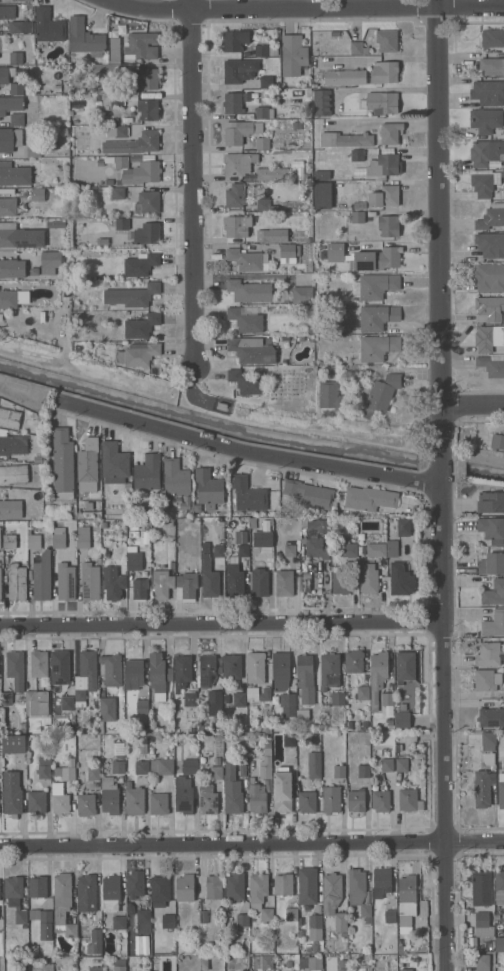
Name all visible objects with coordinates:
building: (28, 0)
building: (2, 1)
building: (26, 5)
road: (307, 9)
building: (6, 11)
building: (48, 25)
building: (21, 27)
building: (335, 33)
building: (85, 38)
building: (492, 38)
building: (235, 40)
building: (387, 40)
building: (142, 45)
building: (359, 48)
building: (115, 49)
building: (261, 51)
building: (273, 51)
building: (293, 54)
building: (16, 57)
building: (492, 65)
building: (108, 70)
building: (233, 72)
building: (385, 72)
building: (6, 74)
building: (345, 77)
building: (145, 79)
building: (262, 82)
building: (16, 88)
building: (58, 88)
building: (296, 92)
building: (488, 93)
building: (31, 99)
building: (112, 101)
building: (233, 102)
building: (322, 102)
building: (387, 102)
building: (10, 104)
building: (148, 109)
building: (264, 112)
building: (16, 119)
building: (486, 120)
building: (297, 125)
building: (117, 131)
building: (240, 131)
building: (390, 132)
building: (346, 139)
building: (18, 142)
building: (134, 143)
building: (262, 143)
building: (485, 152)
building: (357, 155)
building: (109, 160)
building: (121, 162)
building: (238, 163)
building: (384, 165)
building: (141, 173)
building: (271, 173)
building: (14, 174)
building: (294, 174)
building: (306, 175)
building: (321, 175)
building: (485, 182)
road: (196, 184)
building: (118, 193)
building: (38, 194)
building: (323, 195)
building: (235, 196)
building: (385, 196)
building: (148, 202)
building: (263, 205)
building: (8, 207)
building: (358, 217)
road: (439, 217)
building: (491, 217)
building: (55, 222)
building: (122, 223)
building: (238, 225)
building: (389, 225)
building: (147, 233)
building: (272, 235)
building: (20, 236)
building: (490, 244)
building: (288, 253)
building: (366, 257)
building: (248, 259)
building: (50, 261)
building: (141, 265)
building: (12, 268)
building: (489, 277)
building: (375, 286)
building: (250, 291)
building: (132, 295)
building: (302, 295)
building: (8, 299)
building: (76, 306)
building: (488, 308)
building: (1, 317)
building: (377, 317)
building: (246, 320)
building: (142, 325)
building: (311, 330)
building: (301, 337)
building: (489, 338)
building: (378, 347)
building: (252, 350)
building: (138, 354)
building: (492, 365)
building: (247, 382)
building: (381, 395)
building: (332, 396)
building: (220, 403)
road: (472, 406)
building: (37, 417)
building: (10, 418)
river: (249, 434)
building: (497, 441)
building: (12, 443)
road: (252, 451)
road: (473, 454)
building: (37, 457)
road: (442, 459)
building: (62, 463)
building: (114, 463)
building: (88, 465)
building: (148, 472)
building: (13, 474)
building: (176, 477)
building: (127, 486)
building: (209, 488)
building: (248, 494)
building: (309, 494)
building: (41, 496)
building: (177, 498)
building: (370, 498)
building: (490, 501)
building: (185, 503)
building: (88, 505)
building: (172, 507)
building: (11, 509)
building: (206, 523)
building: (104, 524)
building: (241, 524)
building: (404, 527)
building: (491, 527)
building: (263, 534)
building: (241, 535)
building: (0, 537)
building: (59, 537)
building: (84, 537)
building: (315, 537)
building: (34, 540)
building: (10, 541)
building: (348, 548)
building: (392, 548)
building: (376, 549)
building: (218, 550)
building: (244, 550)
building: (290, 550)
building: (134, 558)
building: (233, 559)
building: (492, 563)
building: (172, 565)
building: (209, 573)
building: (308, 576)
building: (42, 577)
building: (369, 578)
building: (400, 578)
building: (235, 580)
building: (90, 581)
building: (341, 581)
building: (17, 582)
building: (66, 582)
building: (114, 582)
building: (162, 582)
building: (260, 582)
building: (284, 582)
building: (0, 585)
building: (187, 586)
building: (140, 590)
building: (494, 593)
road: (223, 623)
building: (494, 624)
building: (488, 654)
building: (354, 660)
building: (39, 664)
building: (281, 665)
building: (417, 665)
building: (406, 666)
building: (60, 667)
building: (232, 667)
building: (256, 667)
building: (15, 669)
building: (113, 669)
building: (207, 669)
building: (88, 670)
building: (183, 670)
building: (330, 670)
building: (159, 672)
building: (134, 674)
building: (378, 676)
building: (306, 677)
building: (487, 680)
building: (363, 692)
building: (252, 693)
building: (266, 694)
building: (7, 698)
building: (81, 698)
building: (191, 698)
building: (337, 698)
building: (226, 699)
building: (239, 699)
building: (388, 699)
building: (37, 703)
building: (68, 703)
building: (215, 703)
building: (289, 704)
building: (142, 707)
building: (108, 708)
building: (341, 712)
building: (302, 715)
building: (491, 717)
building: (402, 720)
building: (391, 721)
building: (350, 725)
building: (23, 727)
building: (155, 727)
road: (446, 727)
building: (47, 729)
building: (289, 739)
building: (489, 741)
building: (14, 743)
building: (143, 747)
building: (317, 747)
building: (45, 752)
building: (488, 759)
building: (217, 760)
building: (266, 761)
building: (71, 762)
building: (387, 764)
building: (402, 764)
building: (314, 765)
building: (119, 766)
building: (162, 766)
building: (190, 766)
building: (142, 767)
building: (44, 768)
building: (243, 770)
building: (58, 771)
building: (340, 771)
building: (364, 771)
building: (217, 772)
building: (68, 773)
building: (94, 773)
building: (57, 787)
building: (483, 788)
building: (282, 789)
building: (501, 789)
building: (232, 790)
building: (12, 792)
building: (184, 795)
building: (110, 796)
building: (257, 797)
building: (135, 798)
building: (208, 799)
building: (332, 799)
building: (356, 800)
building: (409, 800)
building: (37, 801)
building: (381, 801)
building: (307, 802)
building: (61, 803)
building: (159, 803)
building: (86, 804)
road: (252, 844)
building: (381, 881)
building: (0, 883)
building: (135, 883)
building: (284, 885)
building: (38, 886)
building: (214, 886)
building: (308, 886)
building: (185, 887)
building: (235, 887)
building: (500, 887)
building: (482, 888)
building: (87, 890)
building: (160, 890)
building: (14, 891)
building: (332, 892)
building: (359, 892)
building: (111, 893)
building: (260, 895)
building: (407, 902)
building: (63, 904)
building: (292, 914)
building: (21, 916)
building: (204, 916)
building: (390, 916)
building: (143, 920)
building: (243, 920)
building: (43, 922)
building: (340, 922)
building: (120, 924)
building: (168, 925)
building: (483, 925)
building: (315, 928)
building: (96, 941)
building: (473, 944)
building: (500, 944)
building: (487, 946)
building: (400, 948)
building: (34, 949)
building: (97, 959)
building: (263, 961)
building: (484, 962)
building: (204, 963)
building: (311, 963)
building: (120, 965)
building: (129, 967)
building: (96, 969)
building: (406, 969)

